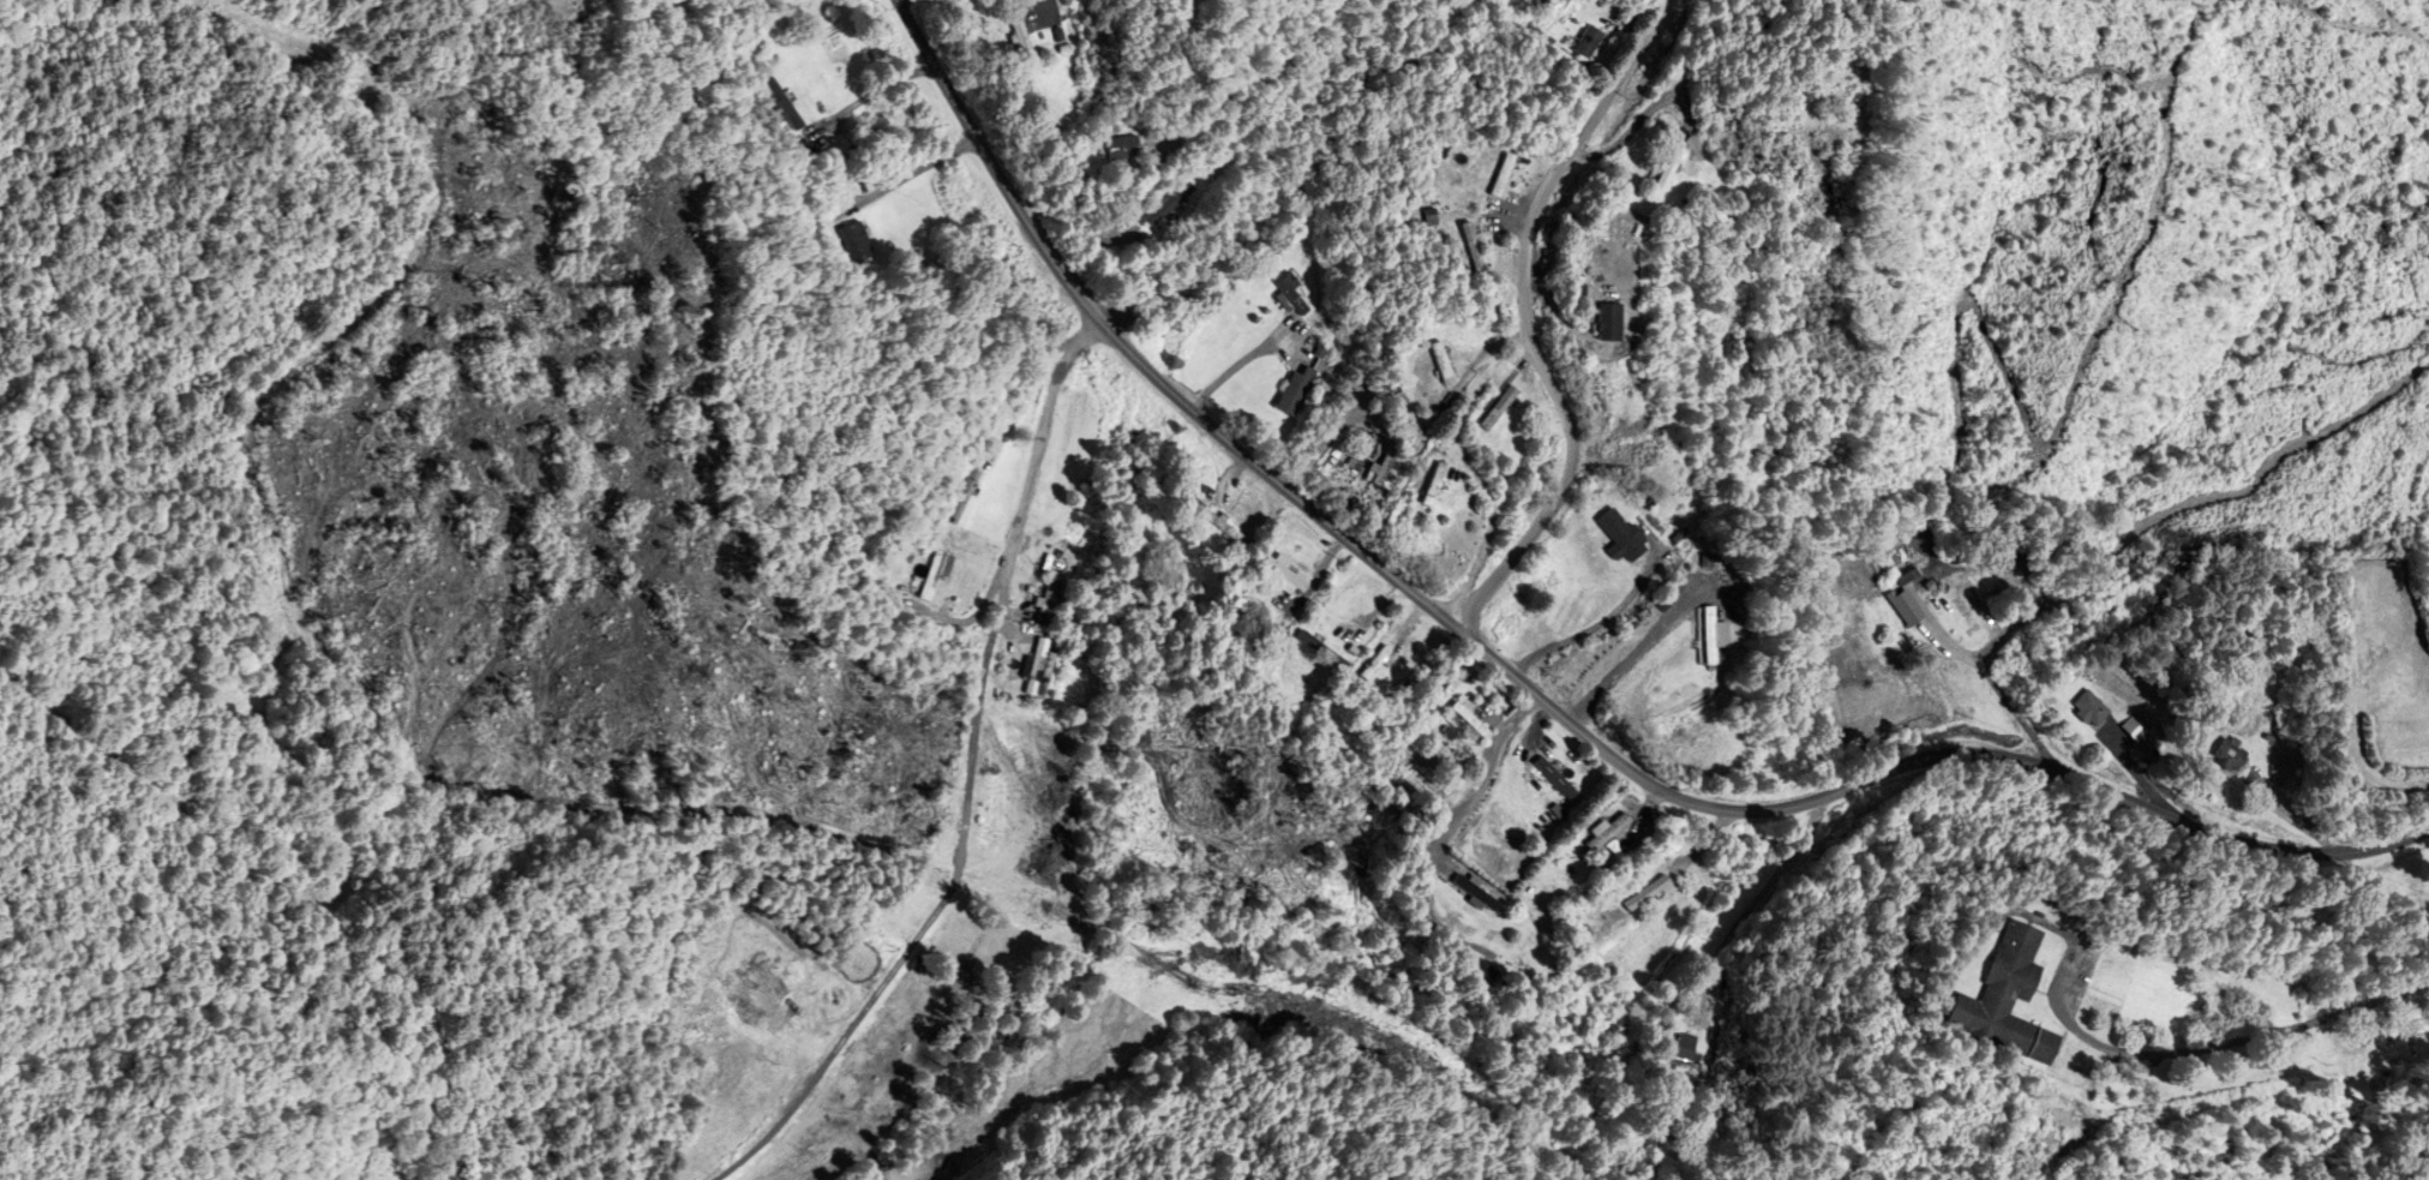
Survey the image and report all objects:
building: (1595, 42)
road: (882, 89)
building: (784, 100)
building: (1134, 151)
building: (1674, 173)
building: (1507, 176)
building: (1171, 209)
building: (857, 242)
building: (1480, 250)
road: (1530, 319)
building: (1619, 321)
road: (1098, 322)
building: (1447, 363)
building: (1307, 384)
building: (1505, 408)
building: (1452, 490)
building: (970, 497)
building: (1234, 532)
building: (1625, 534)
building: (1288, 573)
building: (940, 576)
building: (1056, 597)
building: (1914, 607)
road: (1593, 629)
building: (1731, 635)
building: (1331, 652)
road: (1631, 657)
building: (1383, 663)
building: (1049, 666)
road: (1998, 688)
building: (2095, 708)
building: (1474, 718)
building: (2139, 727)
building: (2239, 754)
road: (1488, 775)
building: (1563, 778)
road: (1875, 779)
road: (978, 784)
building: (1620, 832)
building: (1651, 894)
building: (2015, 999)
road: (2370, 999)
building: (1686, 1050)
road: (2176, 1052)

